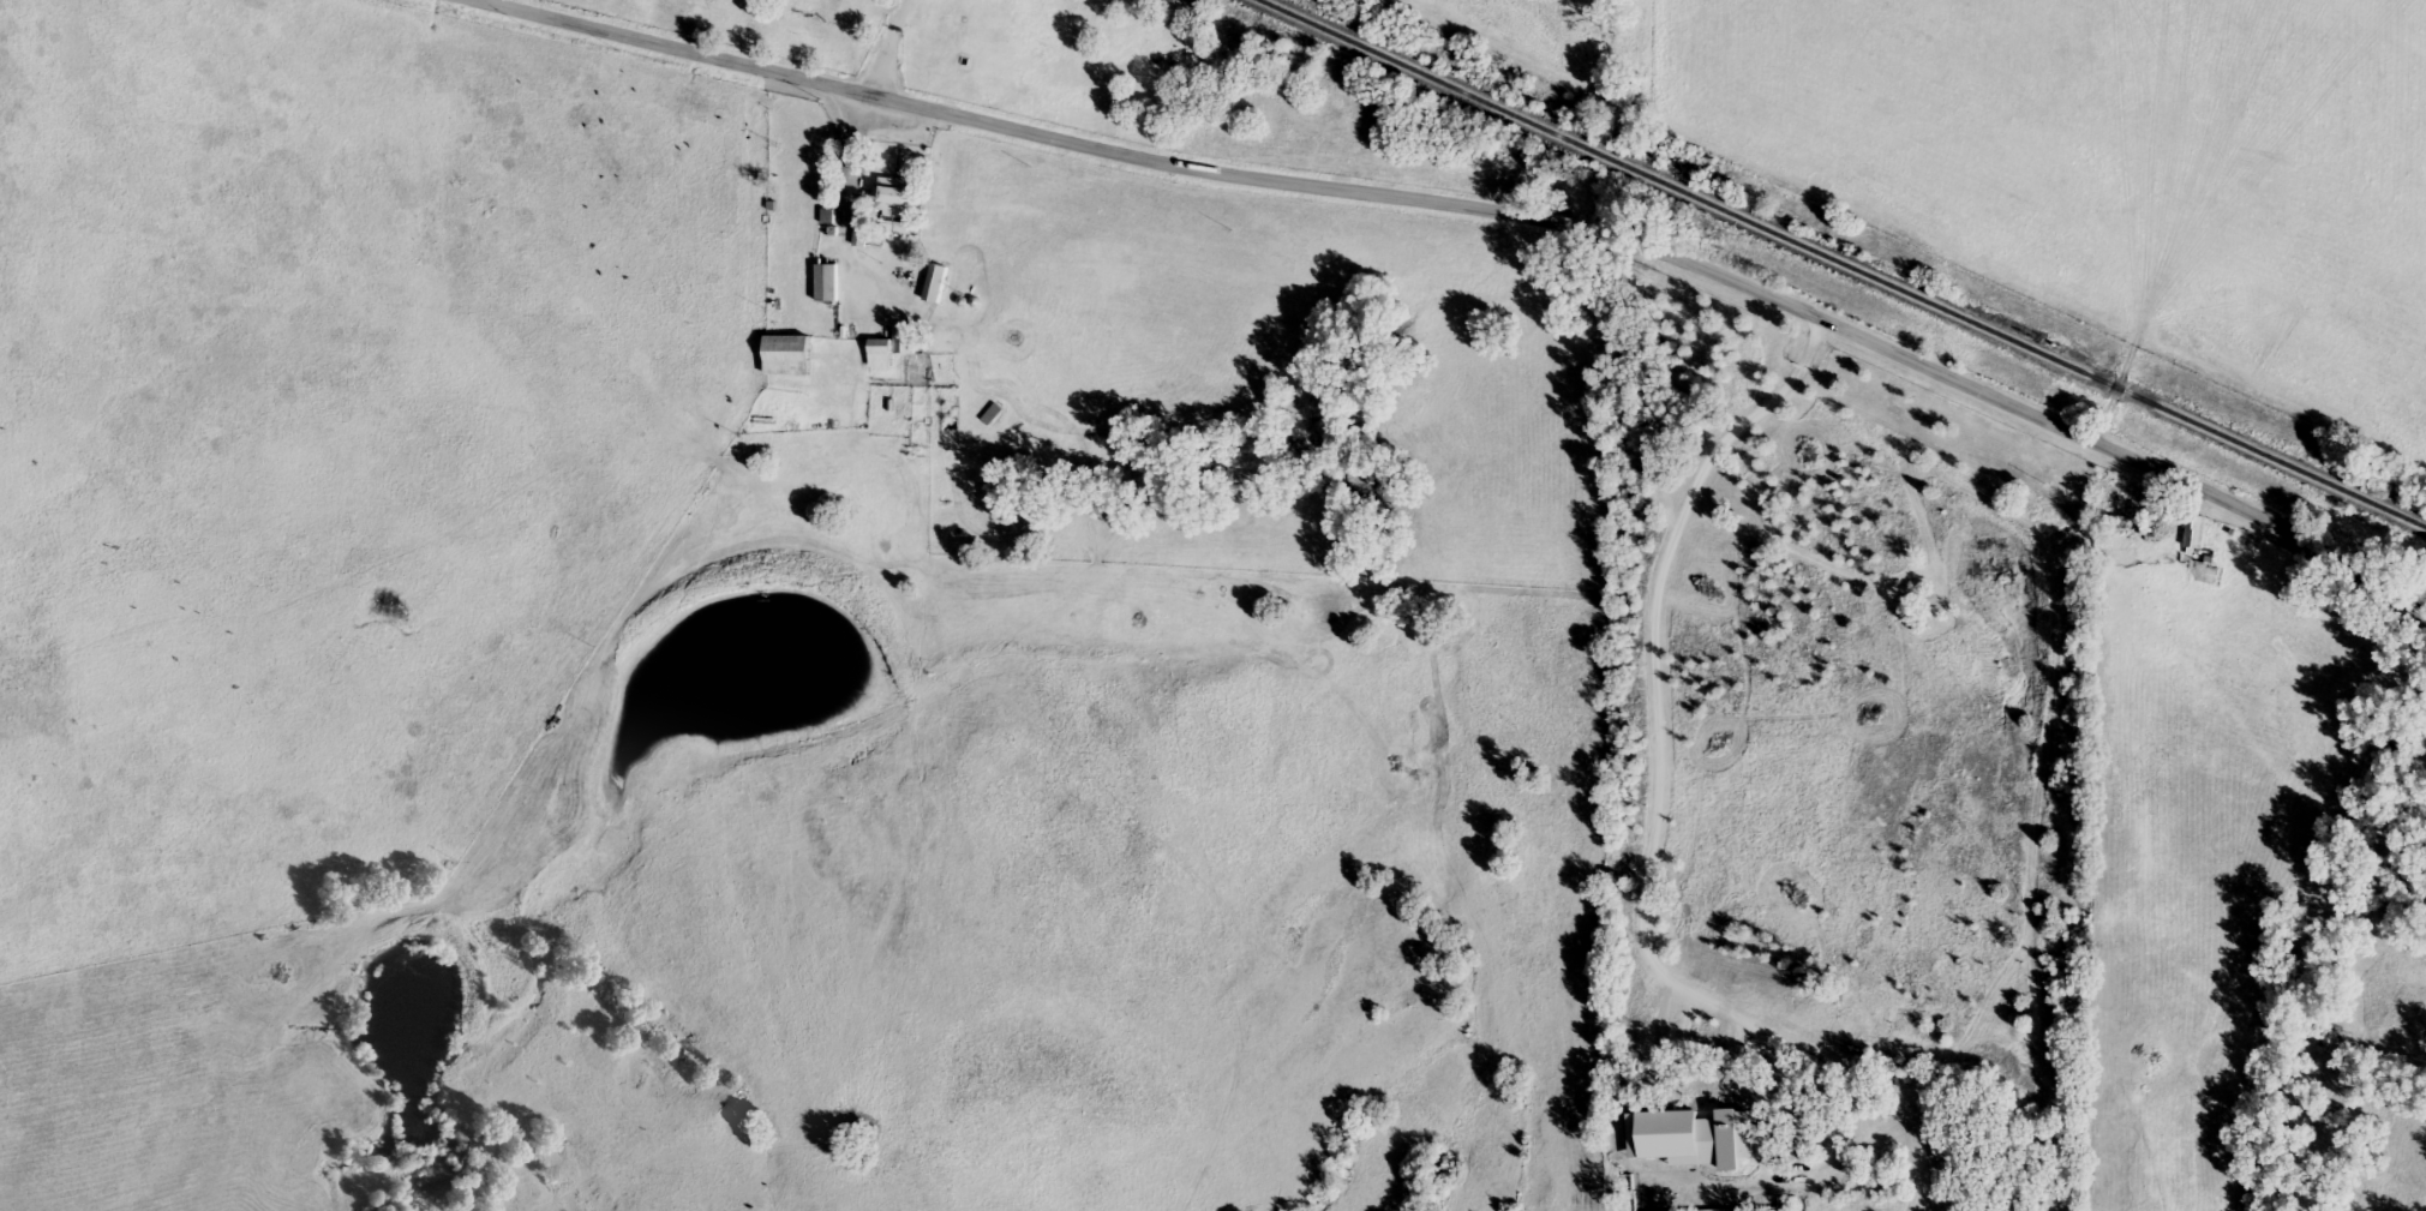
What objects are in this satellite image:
road: (859, 143)
building: (895, 198)
road: (1478, 215)
building: (862, 236)
railway: (1840, 263)
building: (936, 284)
building: (893, 347)
building: (789, 355)
building: (2196, 533)
road: (1652, 657)
road: (1772, 1101)

